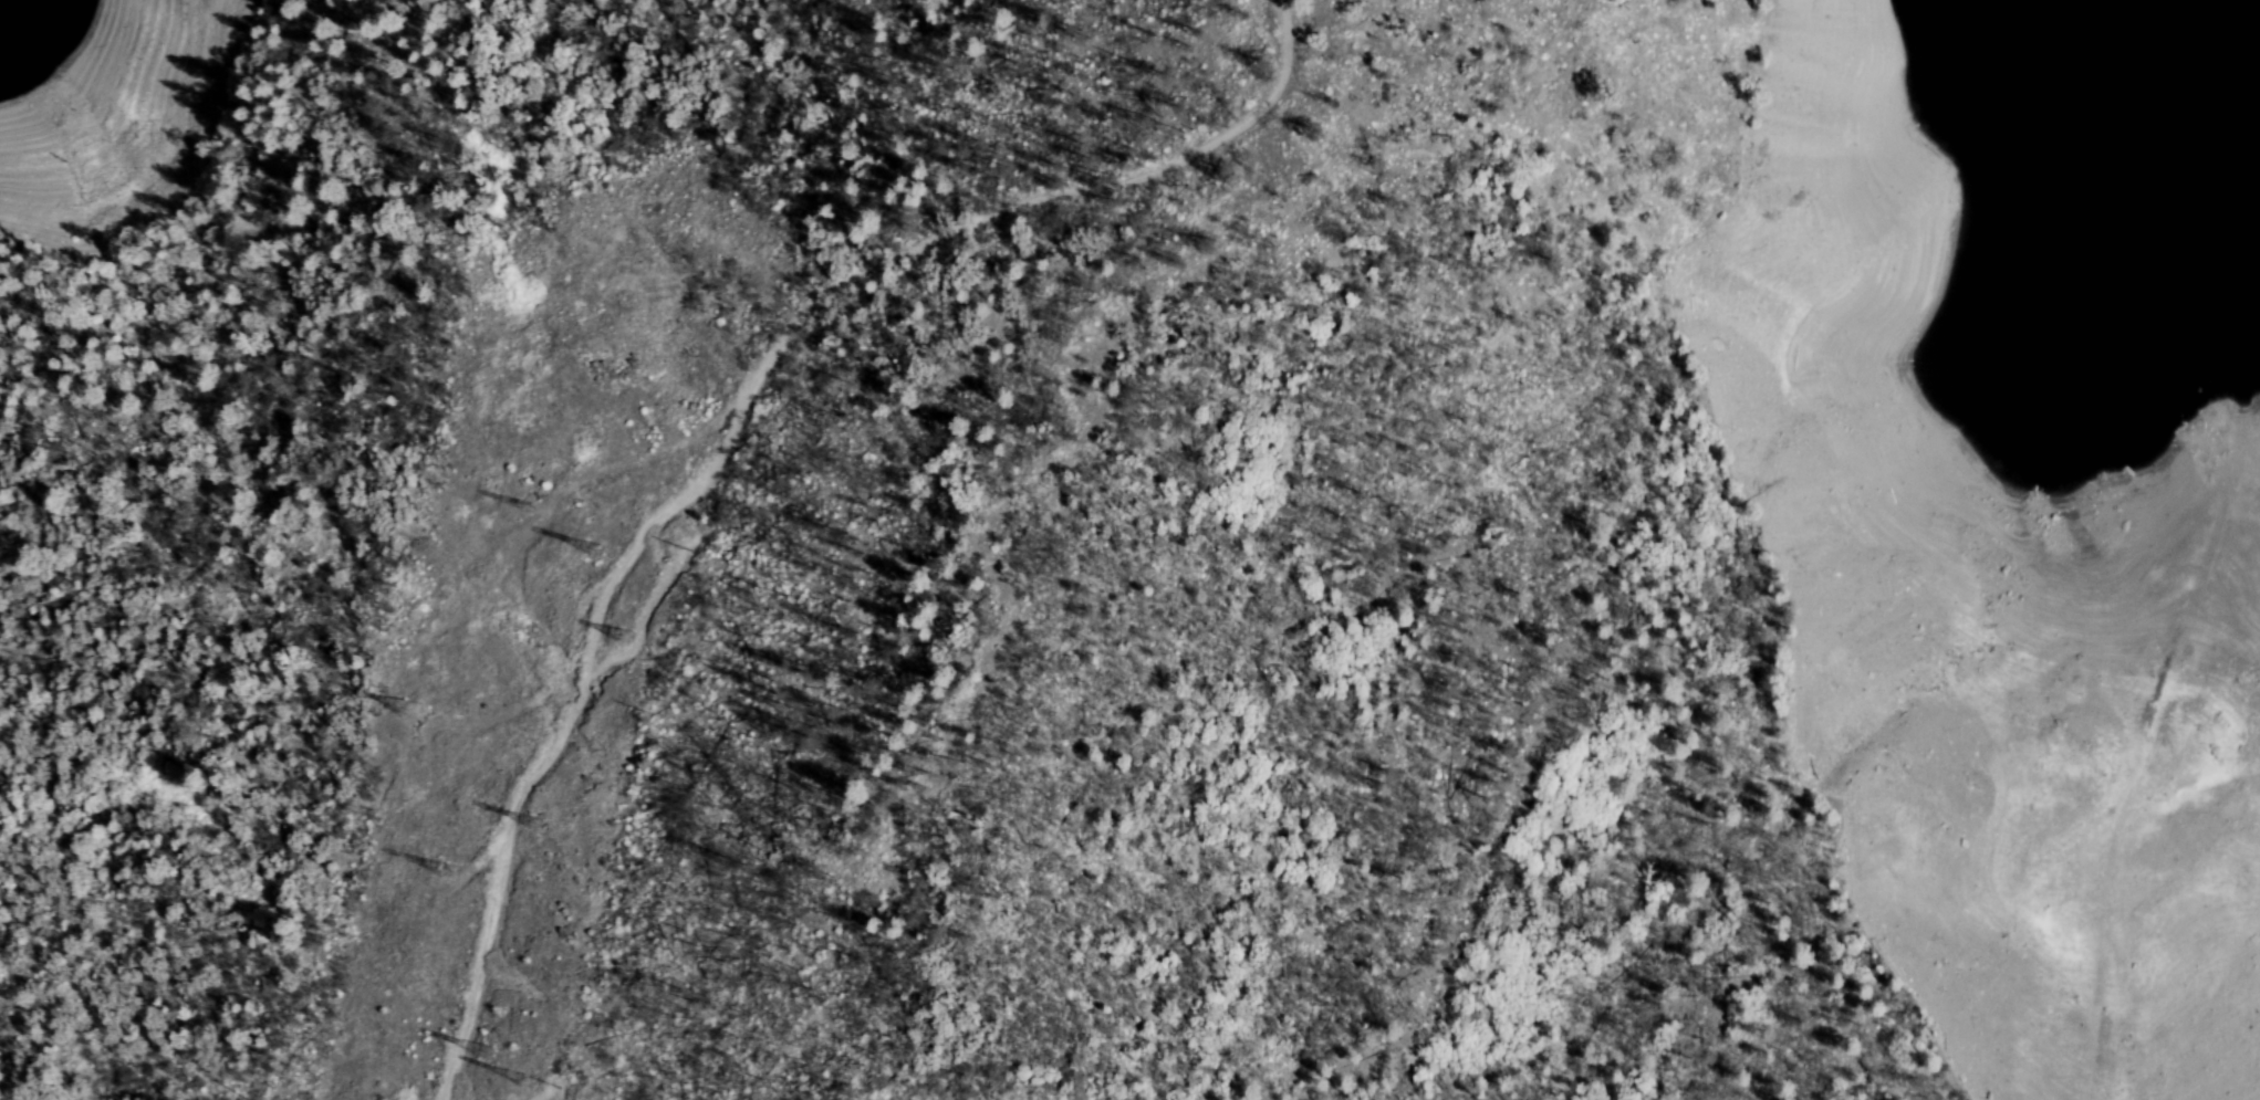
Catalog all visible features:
power tower: (551, 502)
power tower: (611, 548)
power tower: (638, 638)
power tower: (406, 713)
power tower: (554, 809)
power tower: (470, 866)
power tower: (497, 1050)
power tower: (540, 1087)

